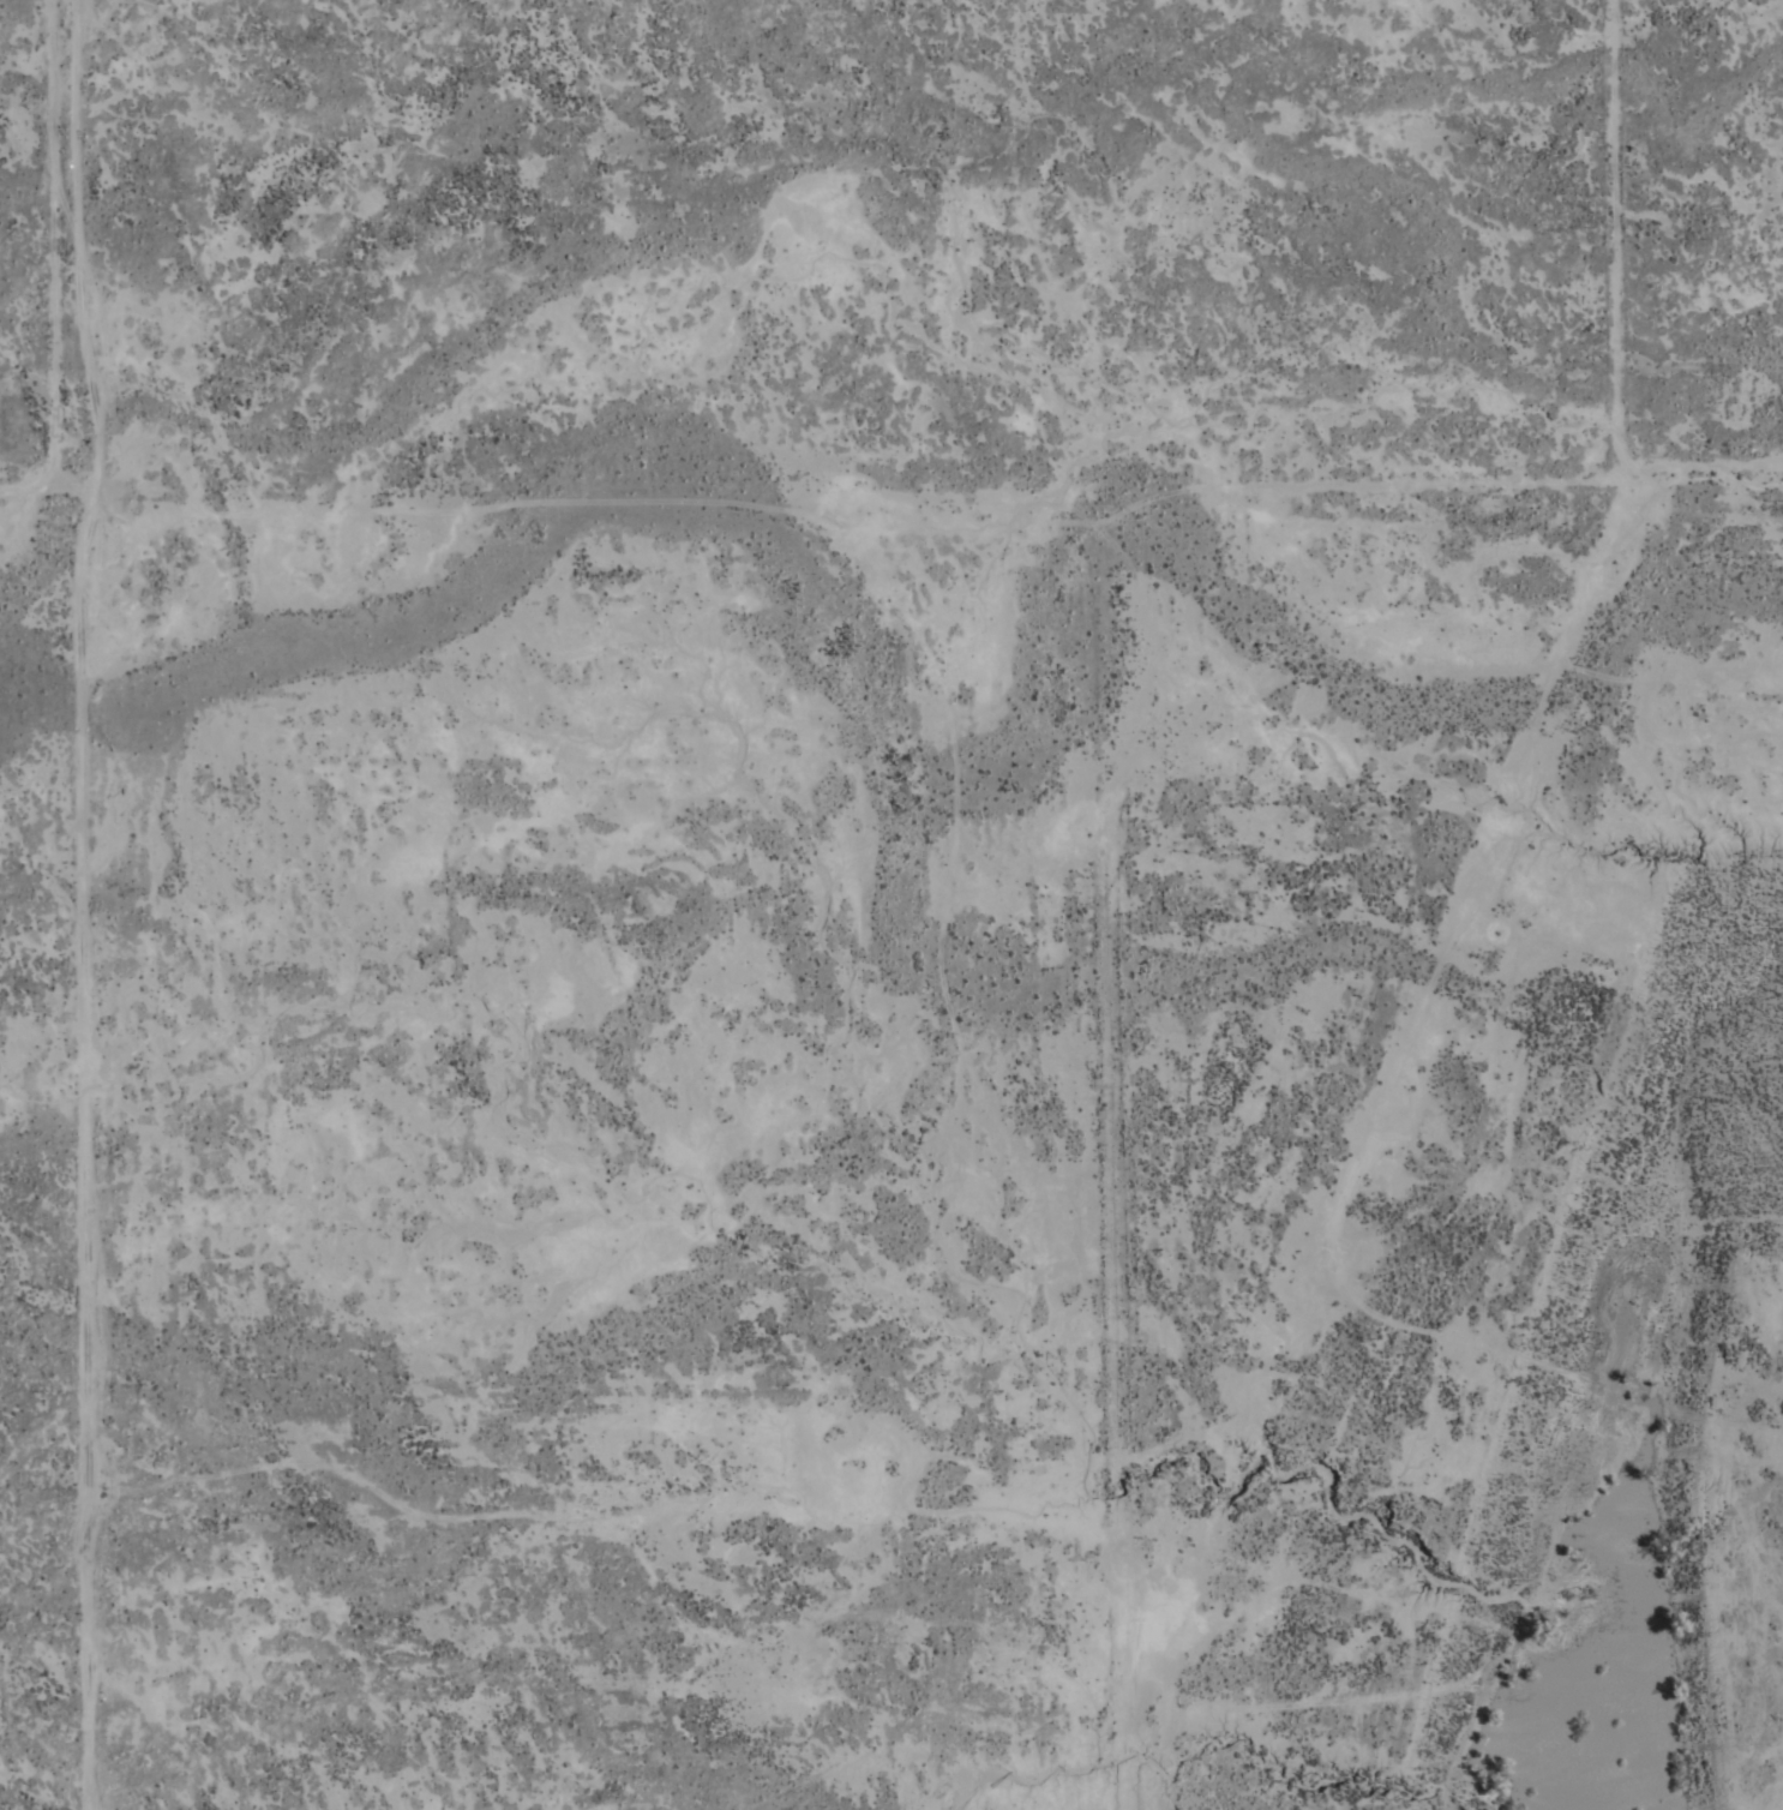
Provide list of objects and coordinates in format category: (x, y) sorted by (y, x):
crop: (49, 253)
road: (40, 478)
road: (76, 903)

